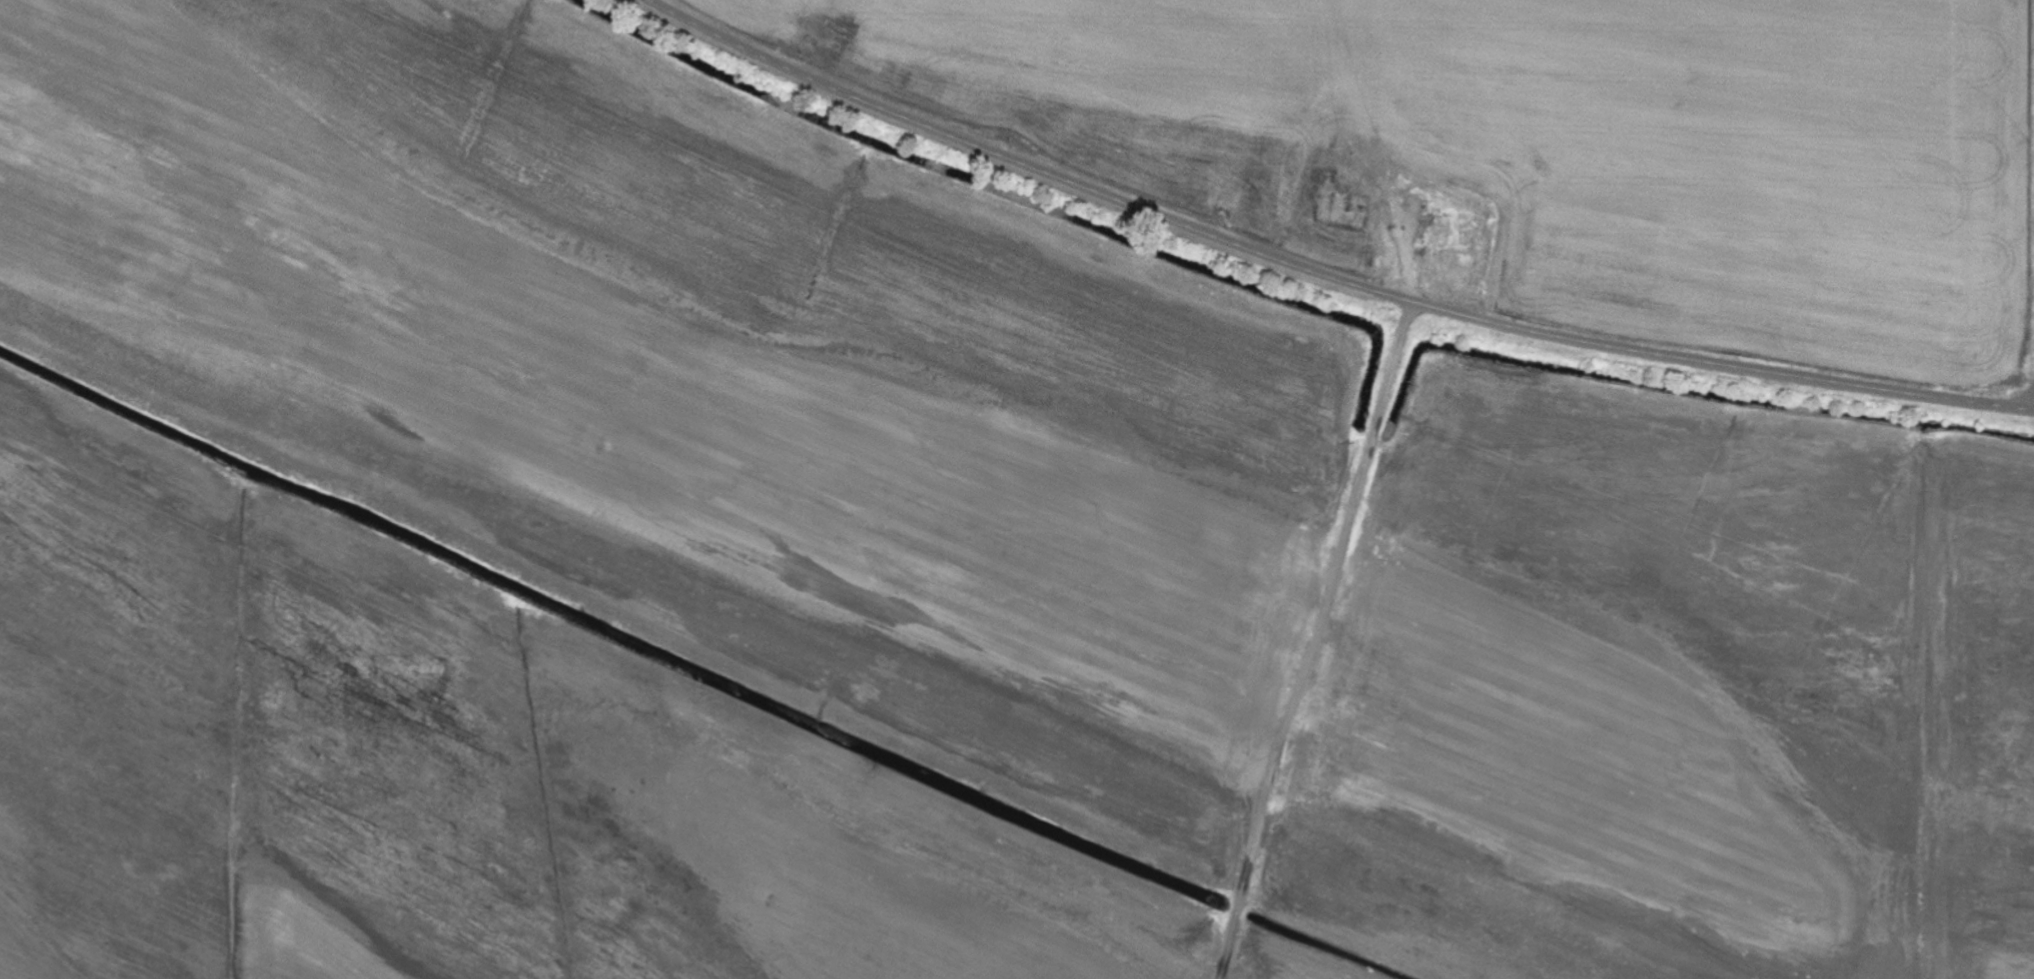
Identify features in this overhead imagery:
road: (1320, 273)
road: (1314, 639)

